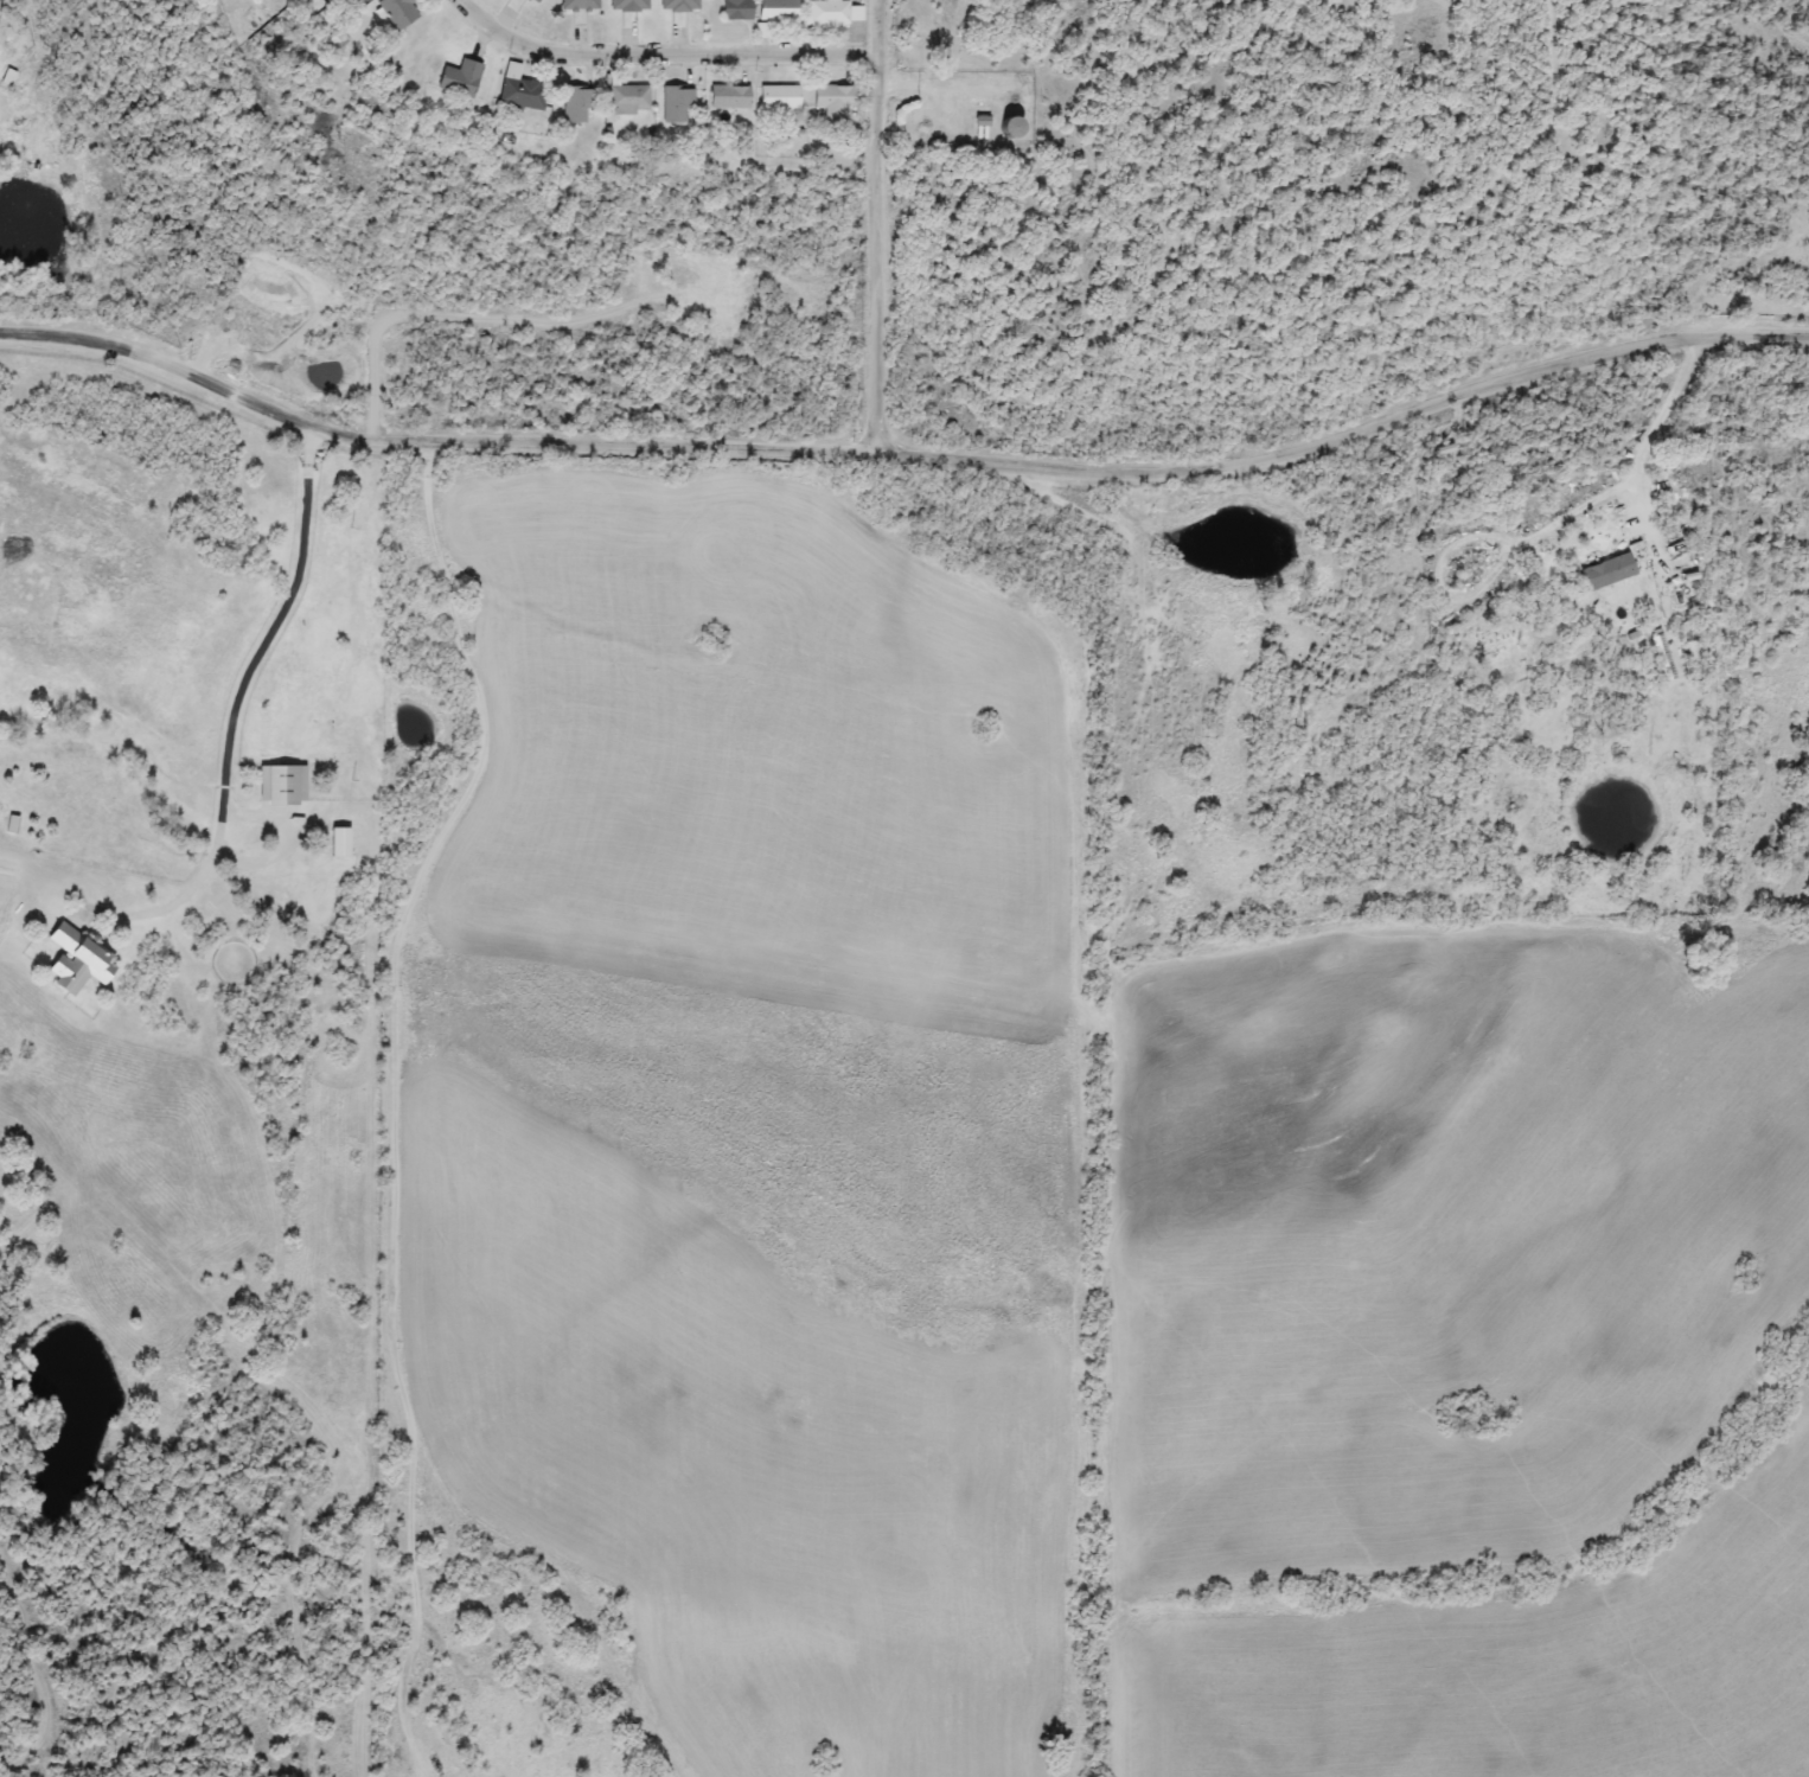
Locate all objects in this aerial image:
building: (533, 1)
building: (577, 5)
building: (627, 5)
building: (735, 9)
building: (778, 9)
building: (396, 12)
building: (826, 13)
road: (670, 47)
road: (958, 59)
building: (458, 79)
building: (520, 94)
building: (728, 96)
building: (776, 97)
building: (627, 100)
building: (830, 100)
building: (675, 103)
building: (574, 106)
building: (1005, 127)
road: (1538, 132)
road: (877, 222)
road: (1658, 420)
road: (903, 447)
building: (1603, 573)
road: (242, 695)
building: (280, 786)
building: (338, 843)
building: (76, 960)
road: (394, 1075)

